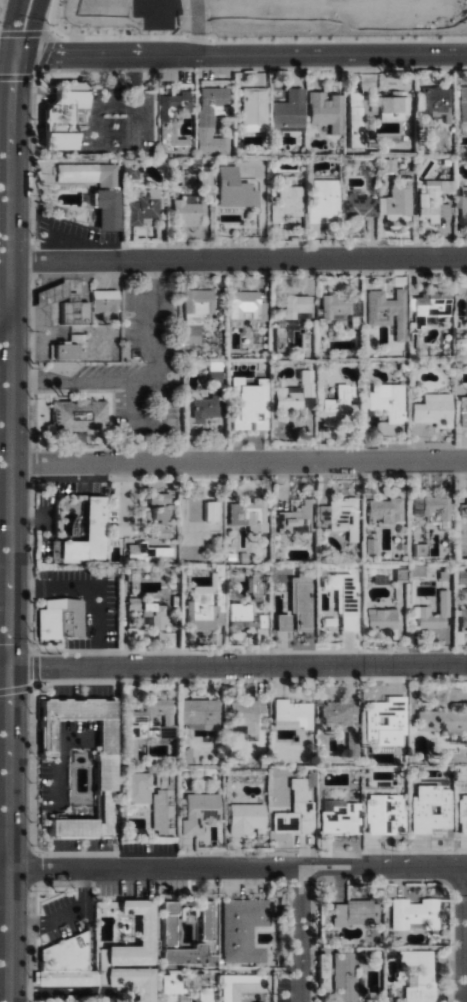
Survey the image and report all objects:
road: (6, 55)
road: (239, 55)
building: (434, 103)
building: (462, 104)
building: (254, 105)
building: (325, 110)
building: (288, 112)
building: (56, 114)
building: (172, 119)
building: (211, 120)
building: (355, 128)
building: (387, 165)
building: (203, 184)
building: (232, 189)
building: (103, 199)
building: (434, 199)
building: (395, 201)
building: (463, 201)
building: (359, 204)
building: (143, 207)
building: (284, 210)
building: (183, 213)
road: (237, 259)
road: (3, 266)
building: (103, 301)
building: (243, 303)
building: (293, 305)
building: (333, 306)
building: (429, 310)
building: (71, 312)
building: (194, 312)
building: (387, 312)
road: (3, 334)
building: (462, 347)
building: (67, 348)
road: (3, 358)
building: (213, 374)
road: (141, 382)
building: (291, 393)
building: (337, 401)
building: (386, 401)
building: (248, 404)
building: (203, 408)
building: (432, 410)
building: (462, 410)
building: (77, 415)
road: (135, 422)
road: (3, 442)
road: (236, 462)
building: (156, 498)
road: (7, 500)
building: (463, 503)
building: (384, 510)
building: (209, 511)
building: (247, 514)
building: (340, 516)
building: (295, 517)
building: (155, 524)
building: (370, 546)
building: (143, 549)
building: (133, 575)
building: (461, 577)
building: (256, 585)
road: (91, 589)
building: (341, 598)
building: (294, 607)
building: (420, 610)
road: (4, 613)
building: (239, 618)
building: (379, 618)
building: (462, 618)
building: (59, 619)
building: (154, 619)
road: (233, 668)
building: (157, 711)
building: (197, 711)
building: (337, 711)
building: (244, 714)
building: (293, 717)
building: (443, 723)
building: (184, 755)
building: (104, 788)
building: (137, 788)
building: (161, 807)
building: (428, 809)
building: (198, 812)
building: (294, 812)
building: (383, 814)
building: (461, 814)
building: (338, 817)
building: (243, 818)
road: (4, 857)
road: (237, 869)
road: (4, 872)
building: (354, 913)
building: (412, 914)
building: (202, 920)
building: (167, 921)
road: (45, 923)
building: (144, 930)
building: (240, 930)
road: (298, 935)
road: (462, 936)
building: (64, 954)
building: (186, 954)
building: (417, 975)
building: (129, 980)
building: (241, 985)
building: (169, 987)
road: (58, 991)
building: (201, 997)

